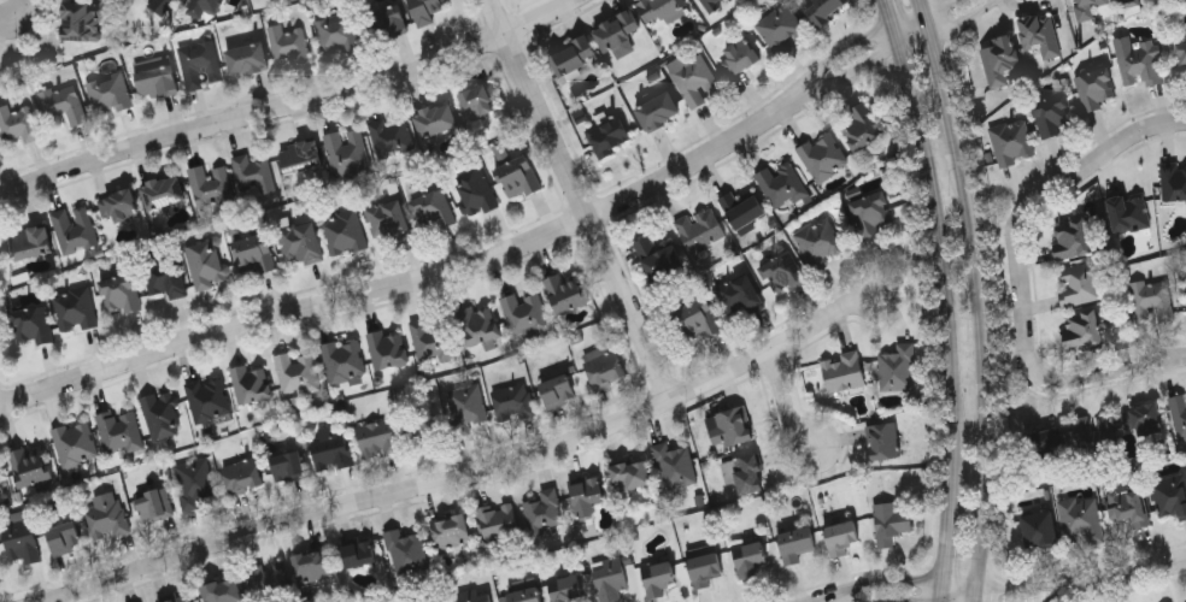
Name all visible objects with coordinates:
building: (163, 4)
building: (714, 4)
building: (202, 6)
building: (1129, 6)
road: (918, 7)
road: (934, 7)
building: (1087, 8)
building: (427, 10)
building: (663, 10)
building: (824, 10)
road: (17, 13)
road: (882, 13)
road: (958, 17)
building: (82, 20)
building: (388, 20)
road: (904, 20)
road: (924, 25)
building: (781, 28)
building: (337, 33)
building: (620, 34)
building: (1039, 34)
road: (891, 39)
building: (289, 42)
road: (912, 43)
road: (842, 48)
building: (741, 54)
building: (575, 57)
building: (248, 58)
building: (1180, 60)
building: (1000, 61)
building: (201, 63)
building: (1139, 65)
road: (853, 70)
road: (941, 75)
building: (157, 76)
building: (698, 79)
building: (1096, 88)
building: (111, 93)
building: (481, 99)
building: (65, 101)
road: (290, 104)
building: (660, 111)
building: (1053, 116)
building: (436, 119)
building: (18, 122)
building: (861, 126)
building: (610, 135)
building: (393, 136)
road: (1132, 137)
building: (1012, 141)
building: (347, 150)
building: (824, 155)
building: (303, 157)
building: (254, 175)
building: (521, 177)
building: (1173, 182)
building: (212, 183)
building: (782, 183)
building: (164, 191)
building: (477, 193)
road: (583, 199)
building: (121, 203)
building: (742, 203)
building: (434, 208)
building: (875, 213)
building: (1131, 213)
building: (388, 217)
building: (75, 228)
building: (701, 229)
building: (345, 232)
building: (1073, 238)
building: (31, 242)
building: (301, 242)
building: (822, 242)
building: (257, 254)
building: (659, 256)
road: (935, 256)
building: (207, 264)
building: (783, 272)
building: (166, 277)
road: (419, 278)
building: (1079, 283)
building: (122, 293)
building: (569, 293)
building: (741, 295)
building: (1152, 300)
building: (77, 309)
building: (527, 312)
building: (700, 319)
building: (33, 324)
building: (481, 325)
building: (1082, 330)
road: (1024, 332)
building: (435, 338)
building: (389, 348)
road: (987, 349)
building: (345, 359)
building: (606, 365)
building: (898, 368)
building: (844, 371)
building: (298, 372)
building: (252, 383)
building: (559, 390)
building: (209, 396)
building: (513, 399)
building: (468, 406)
road: (786, 406)
building: (1179, 413)
building: (163, 414)
building: (1144, 419)
building: (732, 427)
building: (121, 430)
building: (427, 431)
building: (1092, 433)
building: (380, 437)
building: (886, 441)
building: (76, 442)
building: (1041, 444)
building: (333, 447)
building: (0, 464)
building: (31, 465)
building: (289, 465)
building: (676, 465)
building: (746, 472)
road: (468, 473)
building: (245, 474)
building: (633, 474)
building: (195, 482)
building: (588, 494)
building: (1169, 497)
building: (154, 504)
building: (1127, 507)
building: (545, 509)
building: (107, 518)
building: (1081, 518)
building: (499, 520)
building: (892, 521)
road: (943, 523)
building: (1039, 527)
building: (452, 531)
building: (842, 536)
building: (65, 537)
building: (23, 539)
building: (798, 542)
building: (406, 550)
building: (360, 551)
building: (751, 556)
building: (315, 563)
building: (706, 567)
road: (1152, 568)
building: (270, 578)
building: (611, 578)
building: (659, 578)
road: (876, 579)
road: (958, 582)
road: (1047, 584)
building: (568, 589)
building: (224, 590)
road: (939, 590)
road: (1084, 590)
building: (527, 594)
road: (975, 594)
building: (476, 595)
building: (178, 598)

